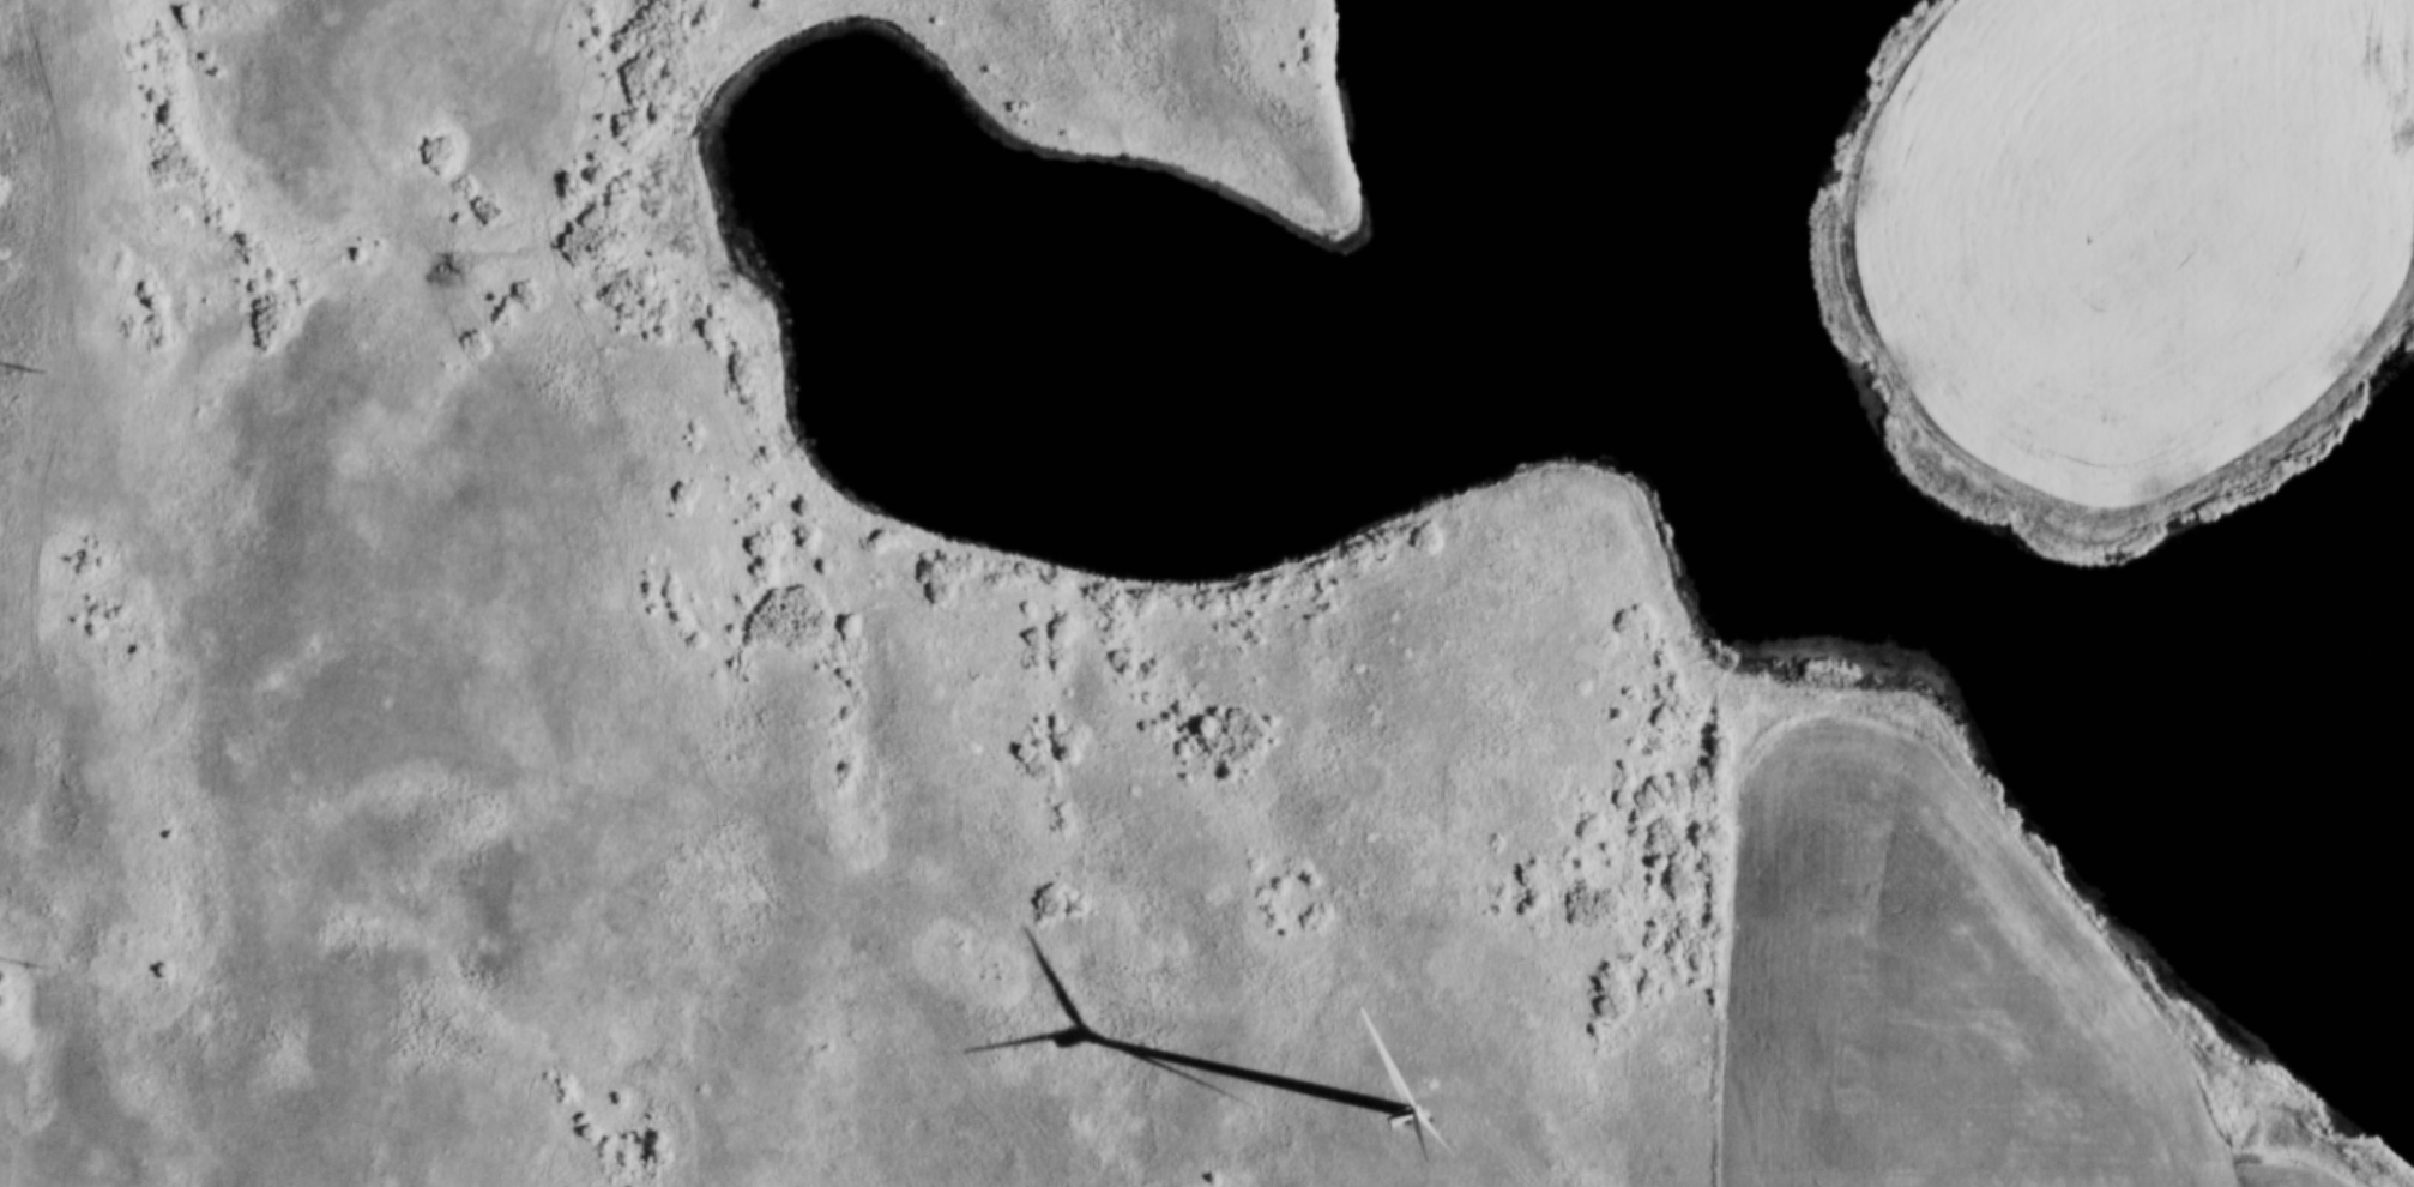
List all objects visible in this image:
road: (35, 619)
wind turbine: (1418, 1119)
road: (1478, 1138)

